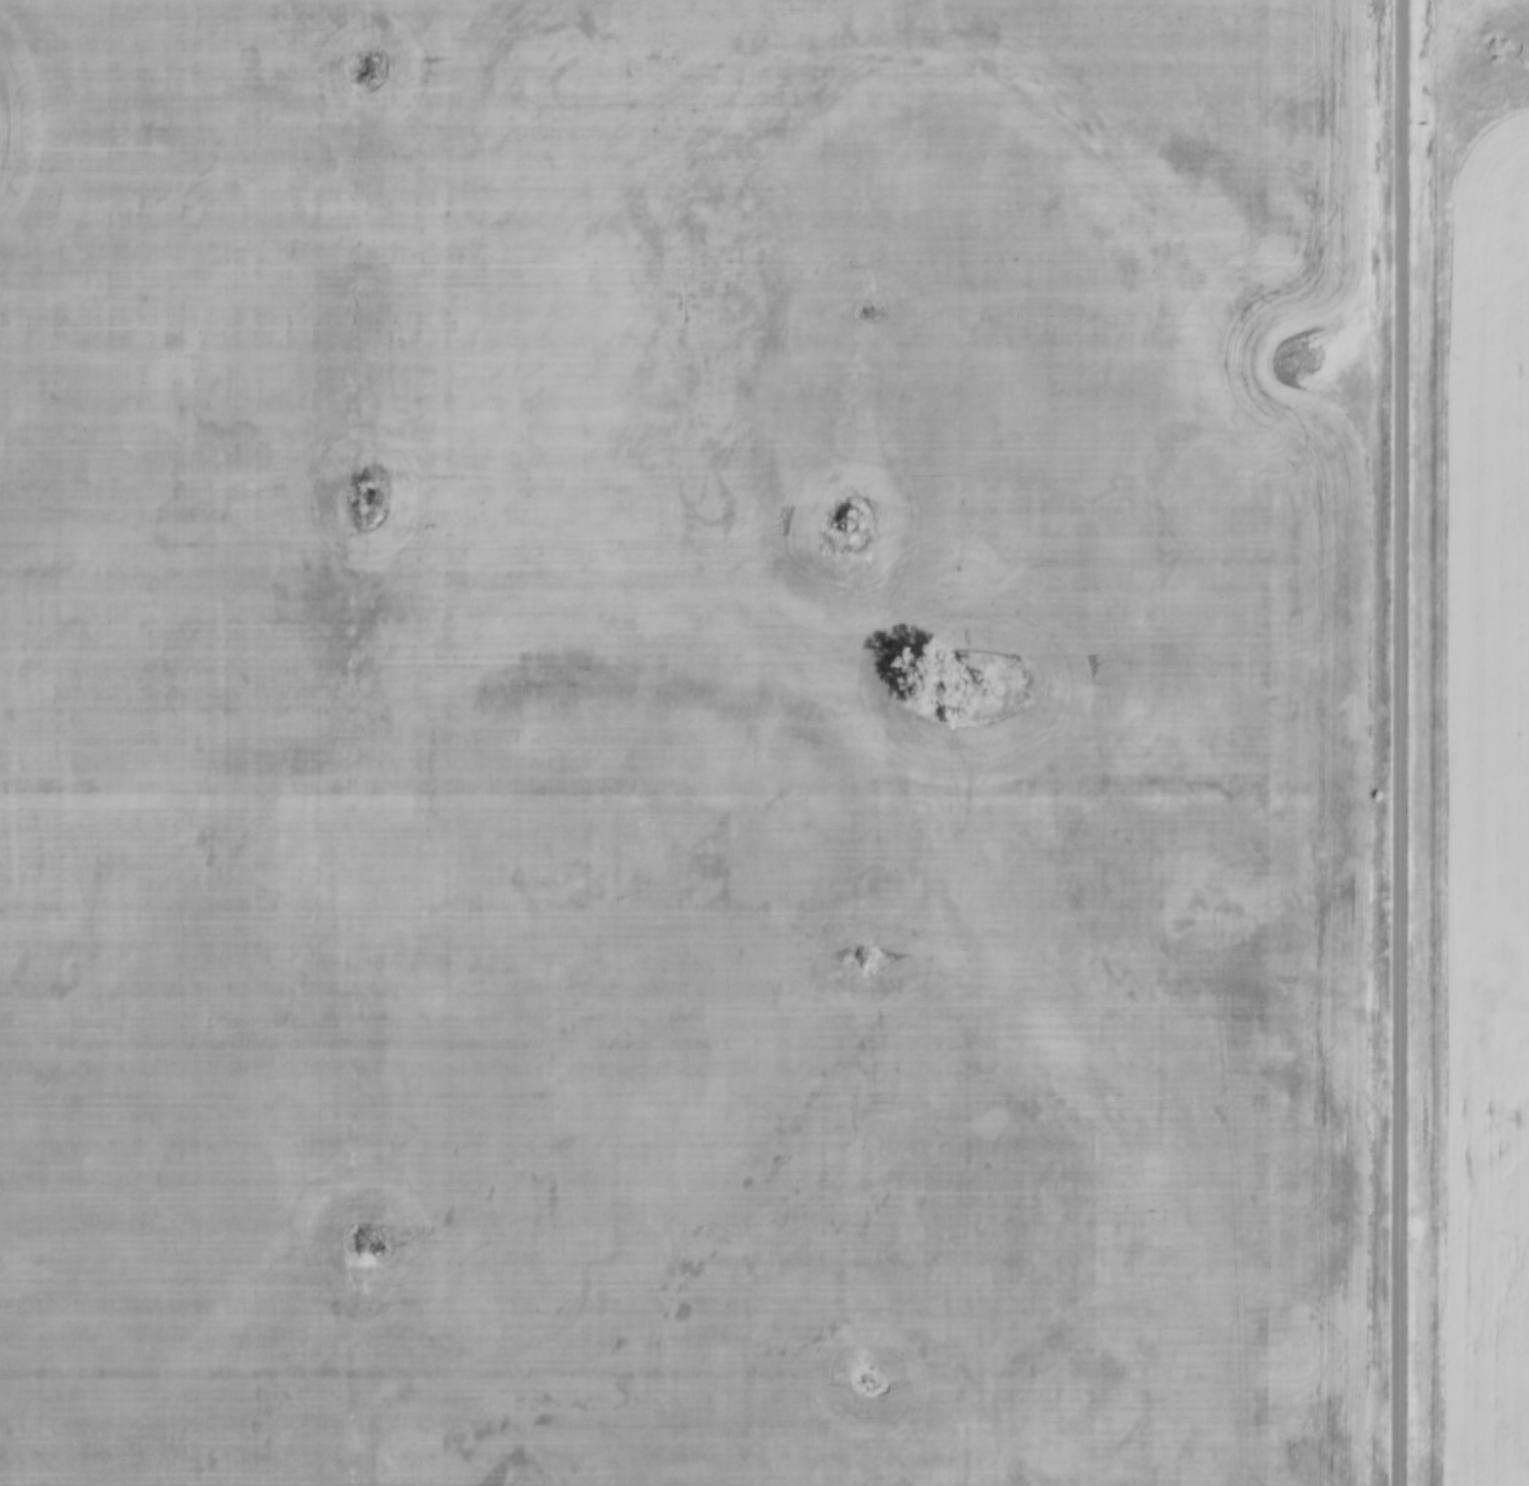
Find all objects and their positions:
road: (1397, 742)

